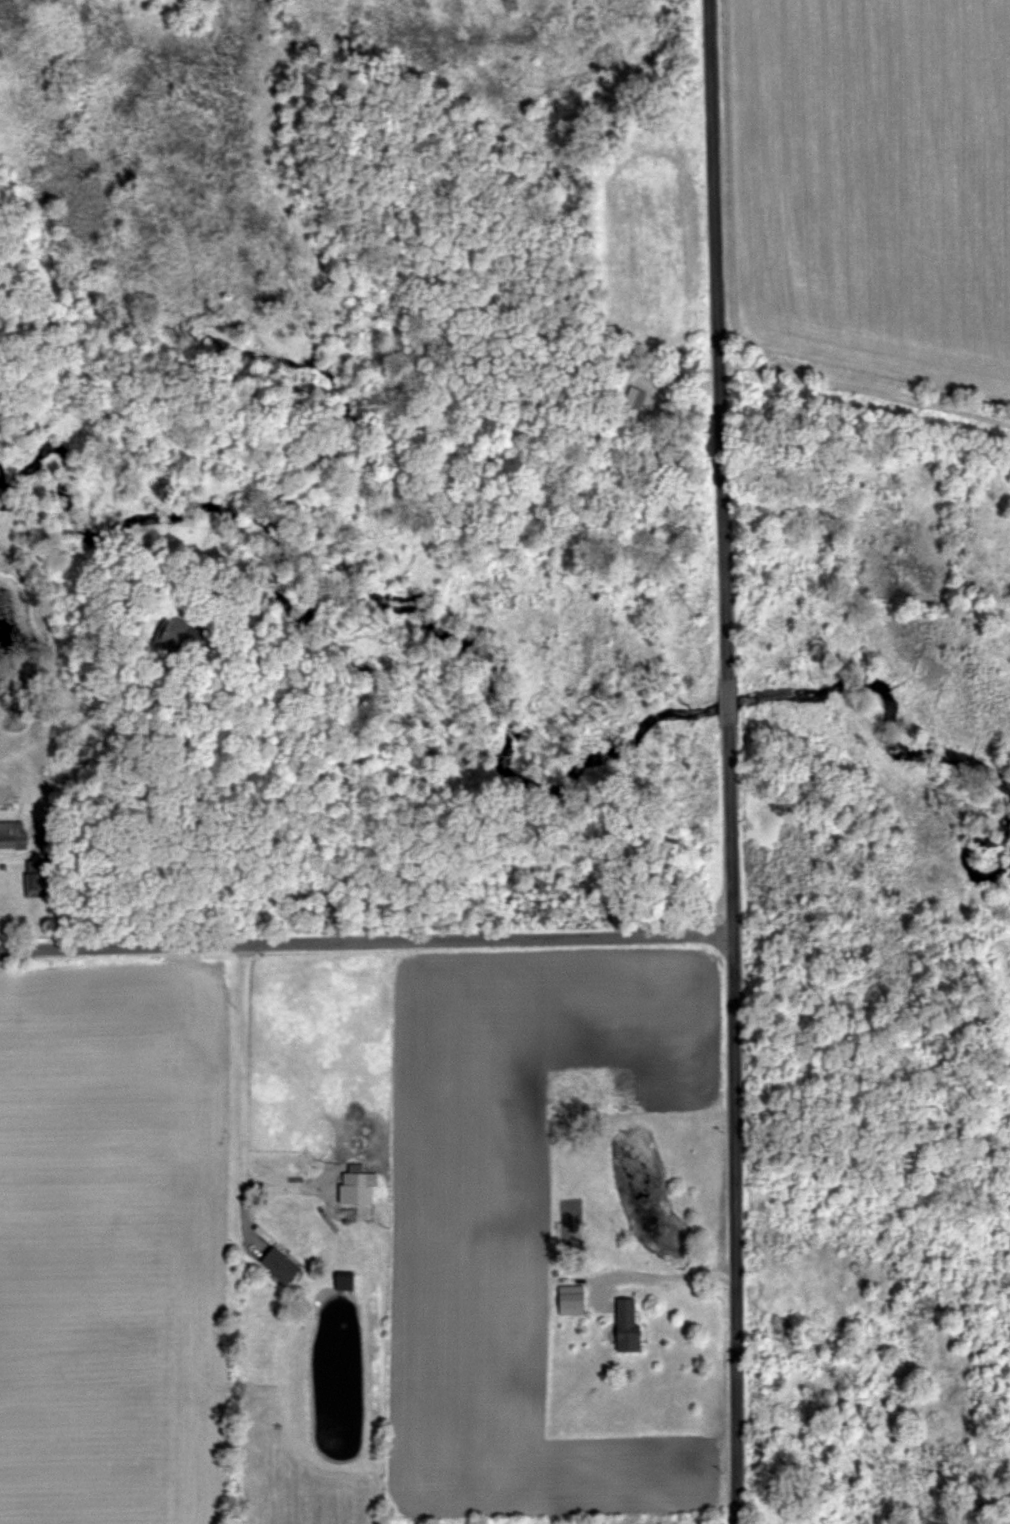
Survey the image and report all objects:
road: (865, 388)
building: (635, 398)
building: (179, 633)
road: (728, 761)
road: (202, 827)
building: (13, 835)
building: (36, 879)
road: (281, 889)
road: (366, 944)
road: (245, 1064)
building: (358, 1186)
building: (281, 1265)
road: (665, 1275)
building: (345, 1280)
building: (572, 1299)
building: (628, 1324)

